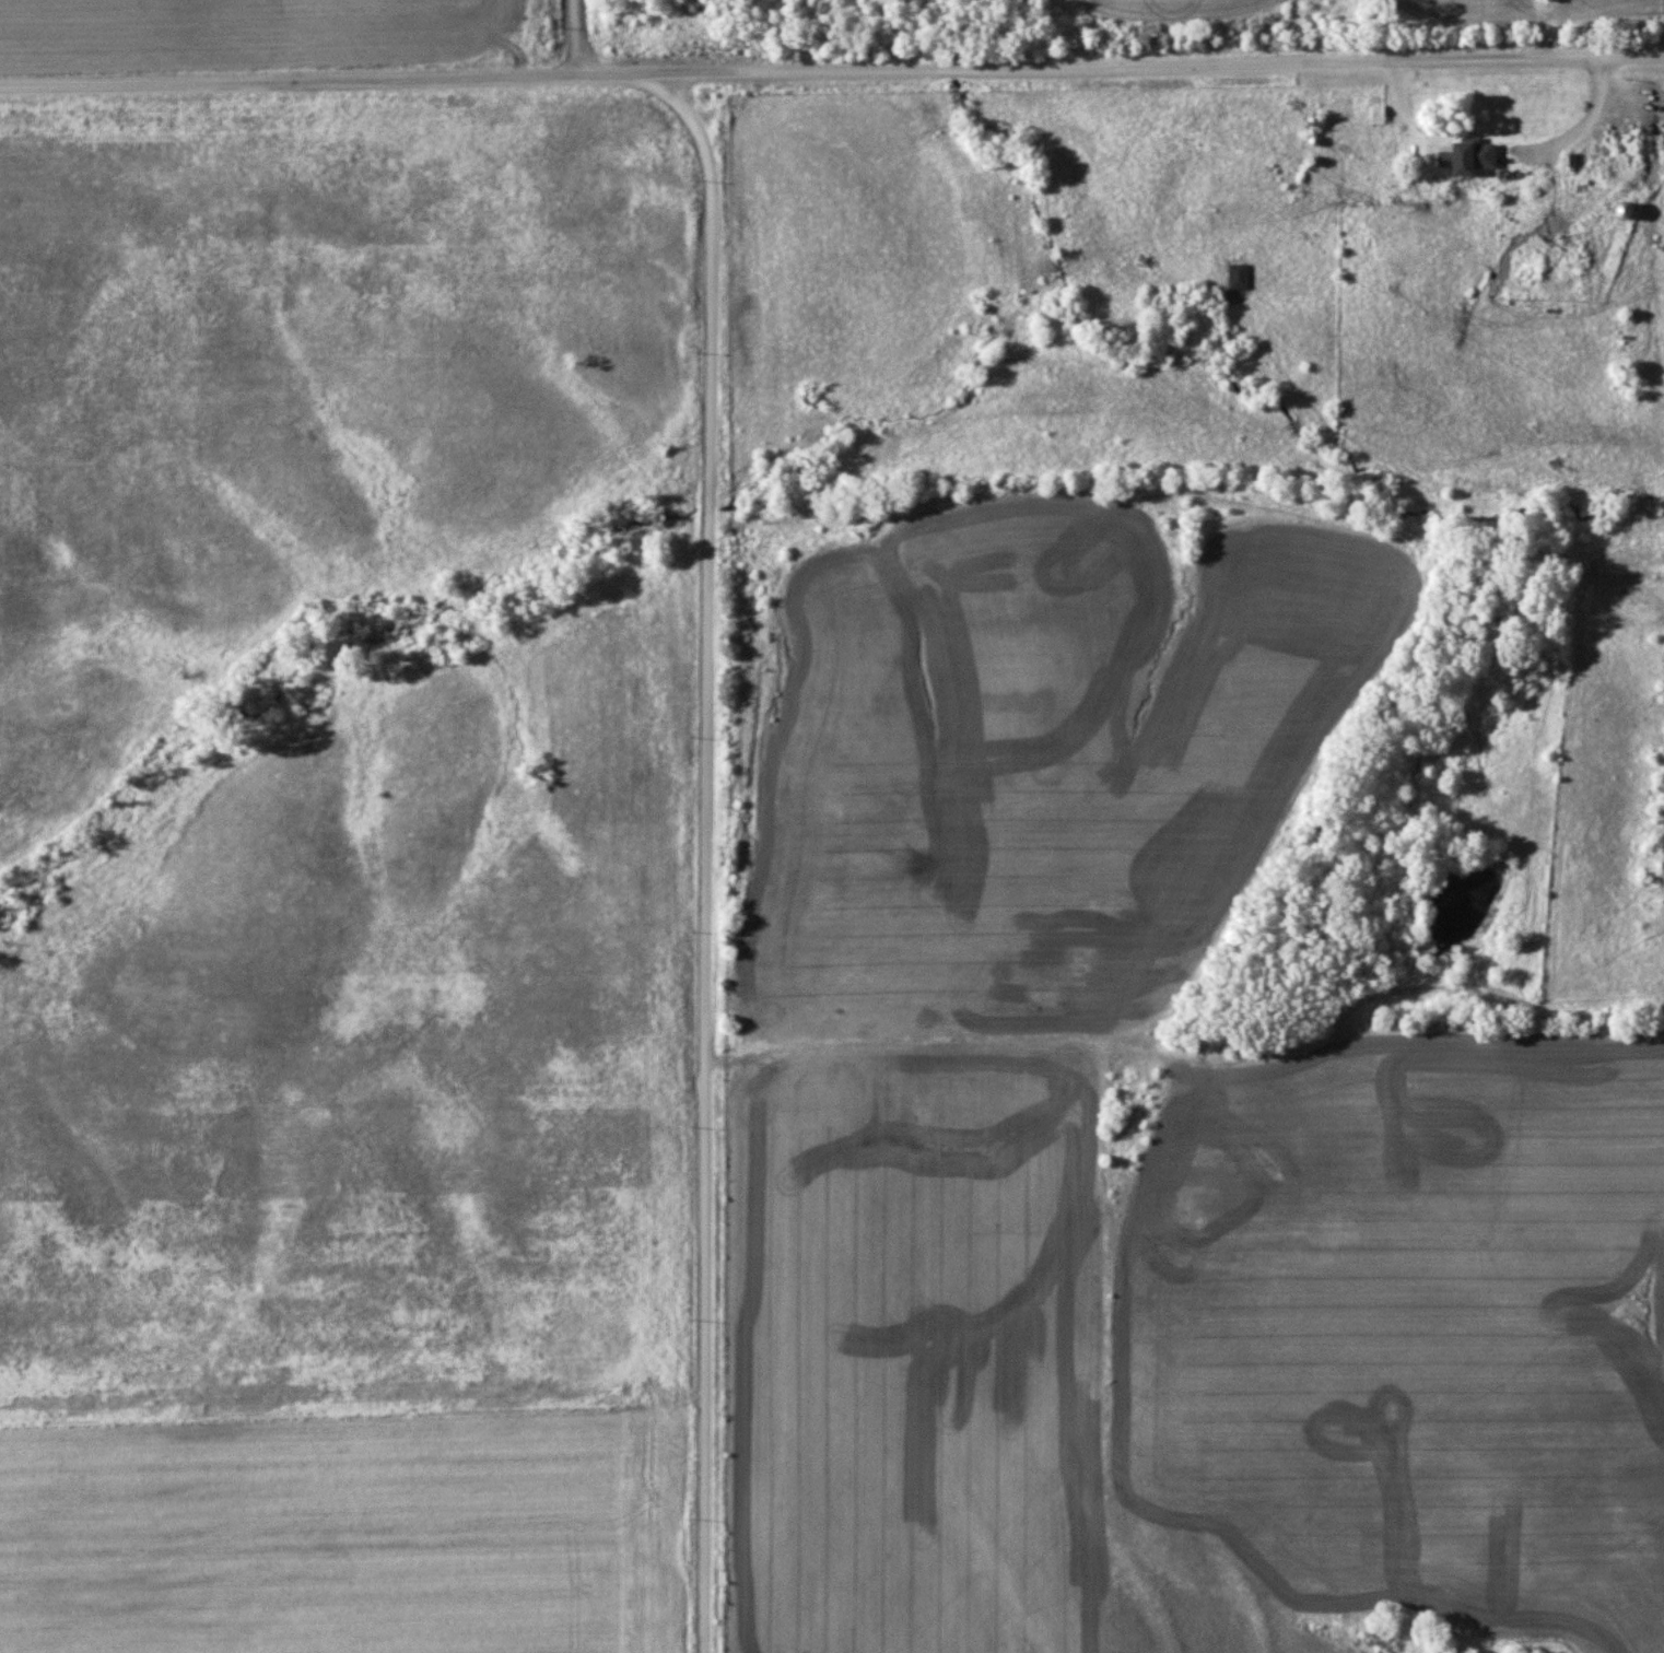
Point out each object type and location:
road: (576, 38)
road: (831, 70)
building: (1375, 115)
building: (1468, 156)
building: (1237, 275)
road: (707, 856)

